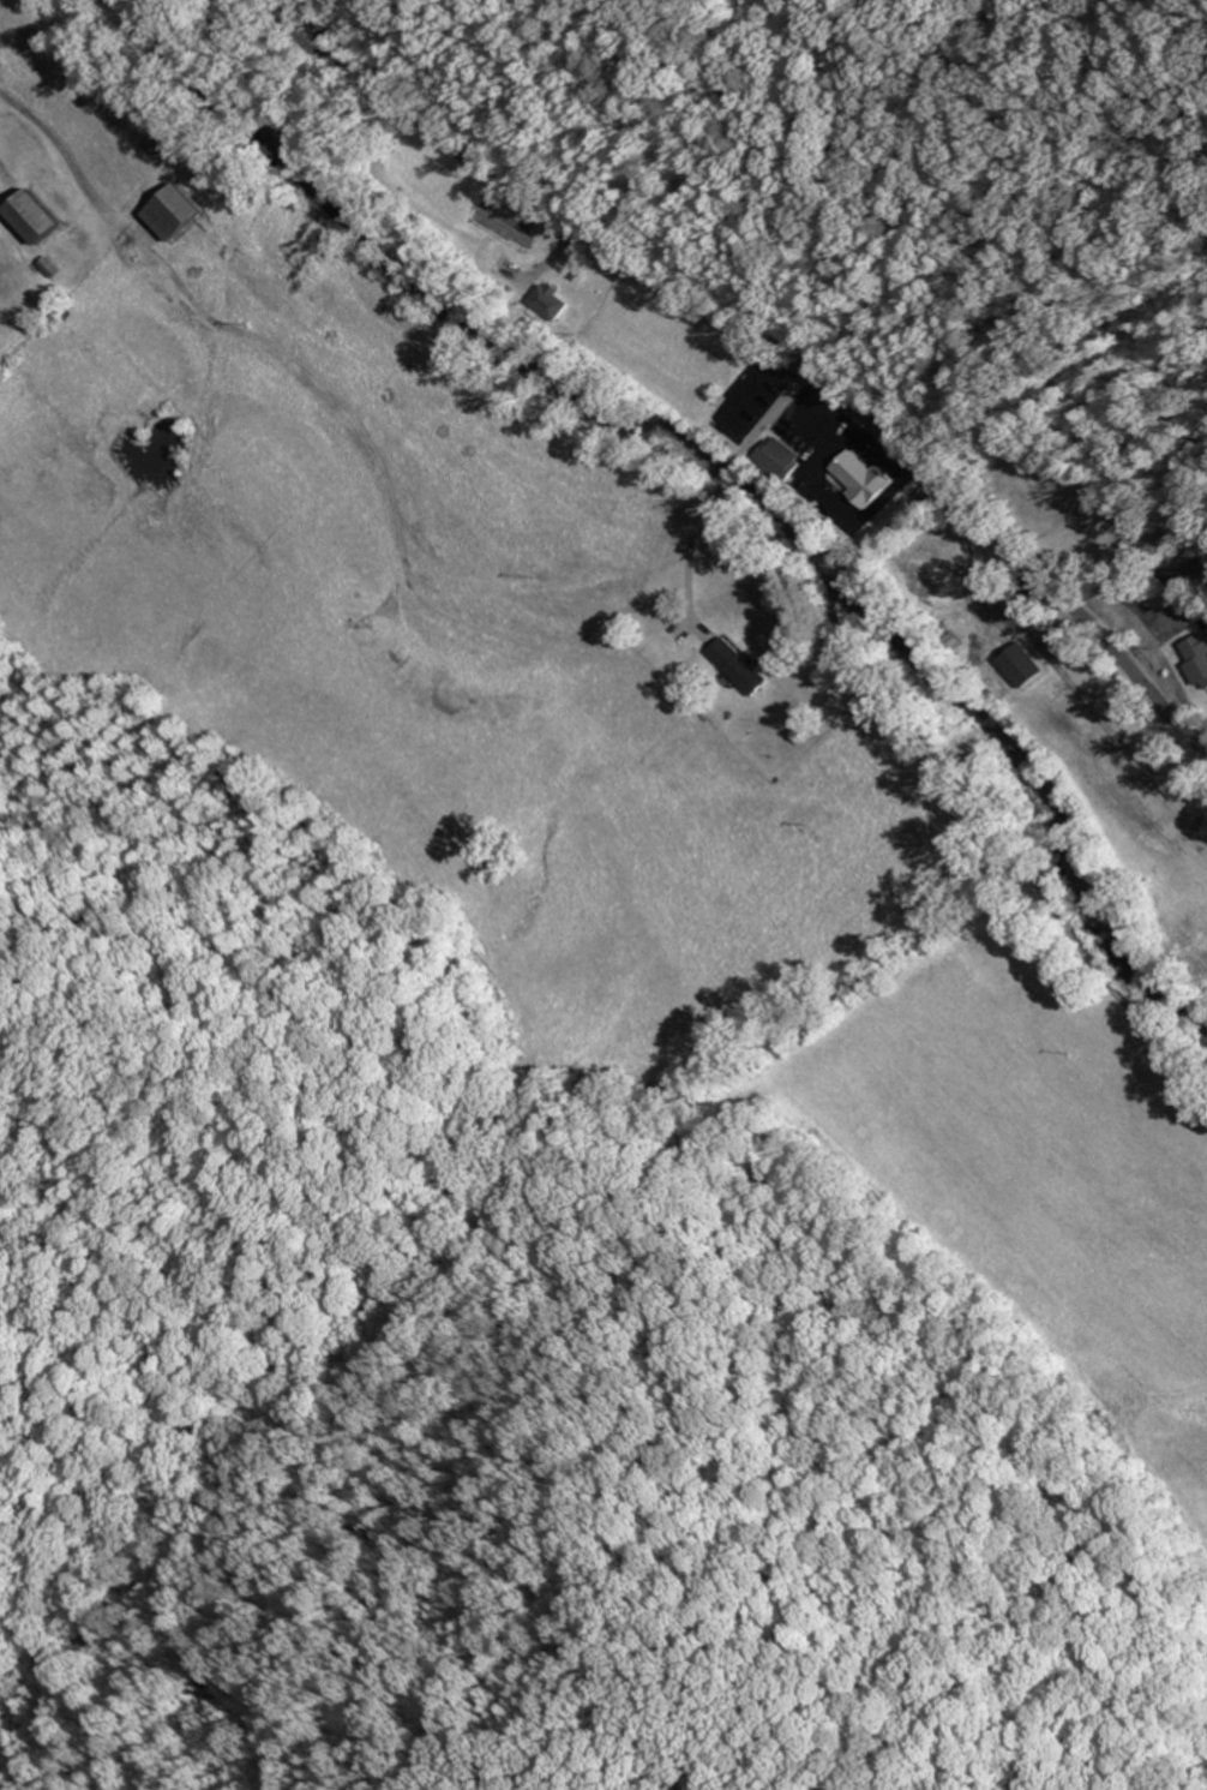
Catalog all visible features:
building: (176, 212)
building: (40, 217)
road: (765, 343)
road: (322, 390)
building: (782, 459)
building: (861, 477)
road: (878, 551)
building: (1197, 655)
building: (741, 665)
road: (987, 932)

